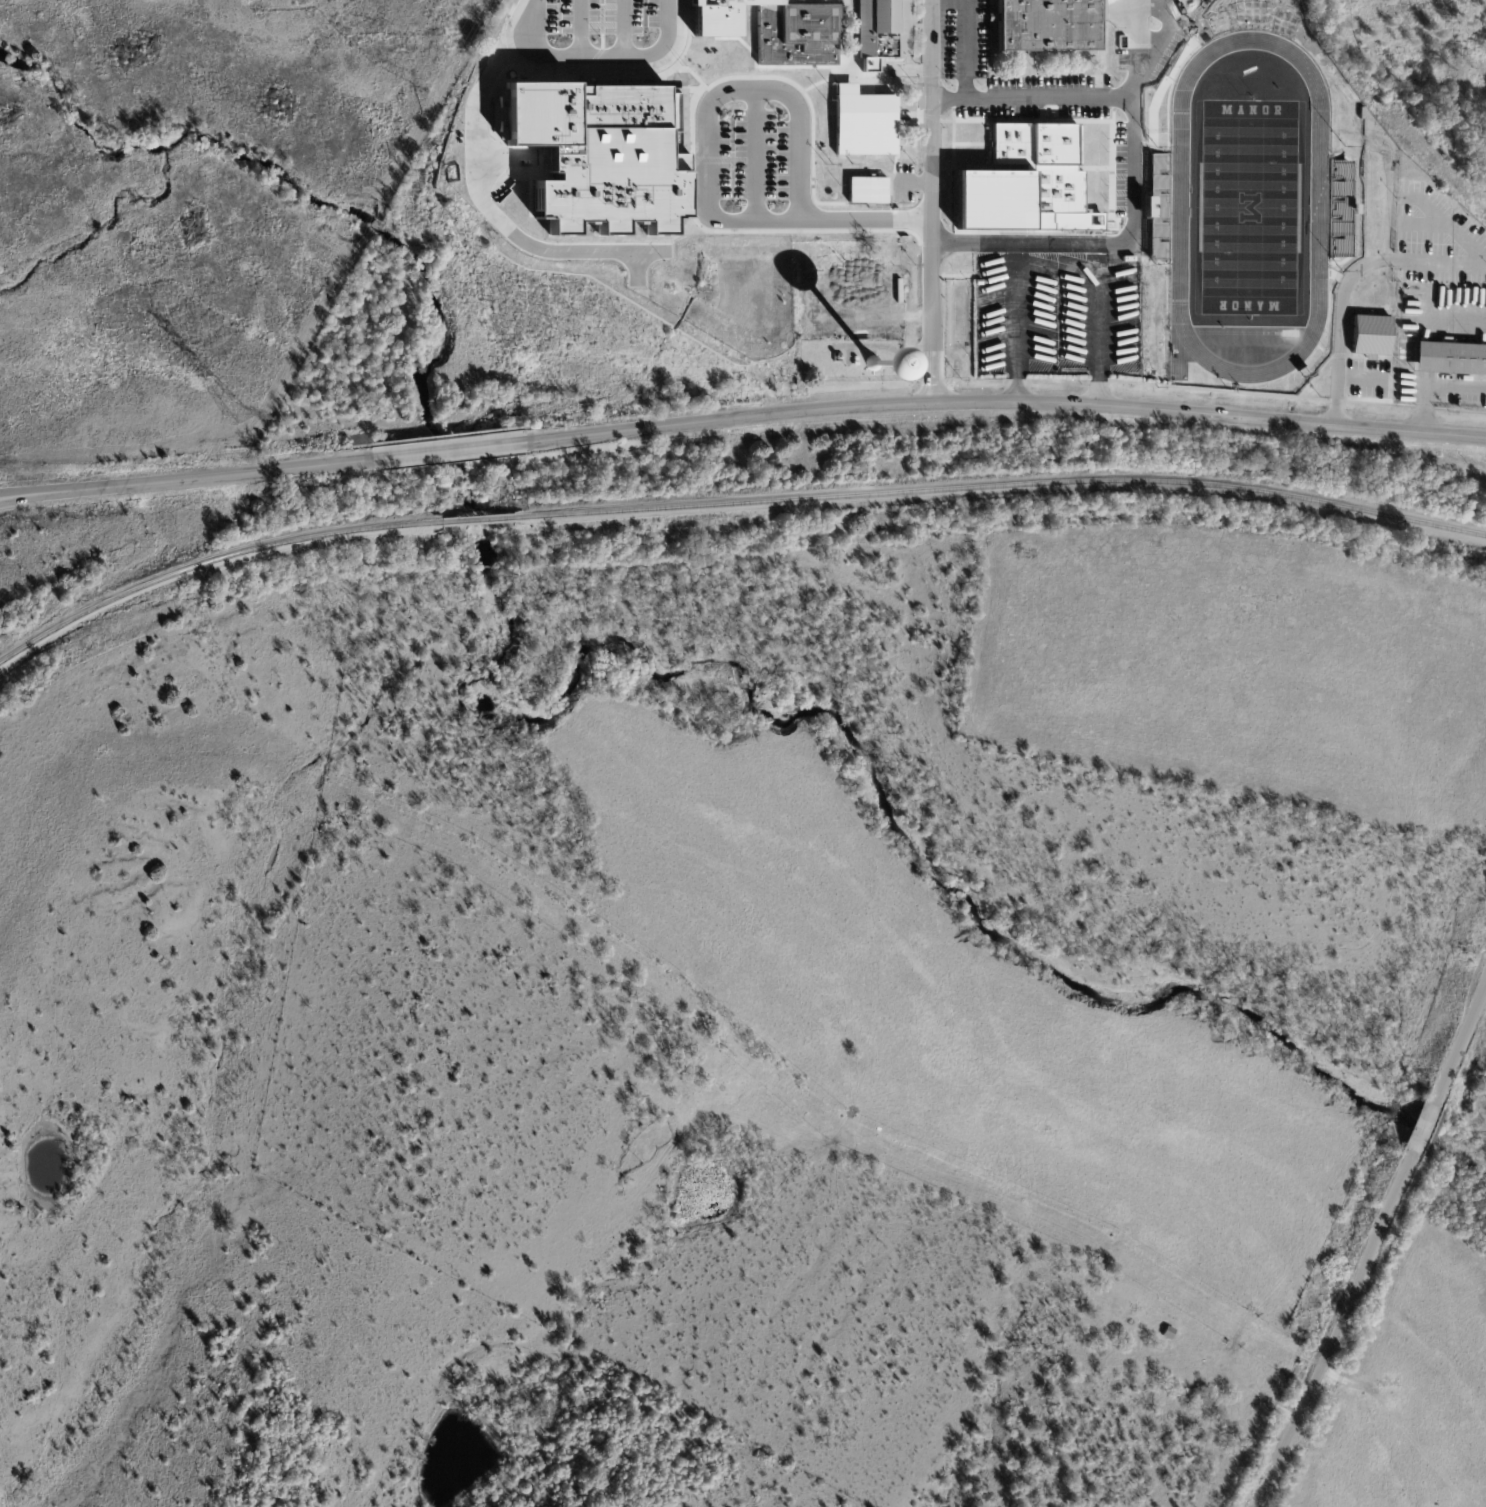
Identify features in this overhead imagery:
building: (1195, 16)
building: (734, 19)
road: (579, 28)
road: (621, 28)
building: (1053, 28)
parking lot: (595, 32)
building: (886, 34)
parking lot: (1147, 38)
building: (800, 44)
road: (966, 49)
road: (604, 57)
road: (1077, 96)
building: (1143, 112)
building: (869, 130)
building: (958, 155)
building: (979, 155)
road: (754, 156)
parking lot: (757, 160)
road: (709, 170)
building: (614, 172)
building: (1034, 190)
road: (479, 197)
building: (872, 197)
road: (933, 202)
track: (1251, 206)
park: (1251, 209)
building: (1361, 218)
road: (1109, 247)
road: (1387, 258)
parking lot: (1440, 269)
building: (809, 307)
parking lot: (1058, 318)
road: (1457, 321)
building: (1371, 337)
building: (1450, 359)
water tower: (875, 362)
parking lot: (1413, 388)
road: (1435, 389)
road: (1003, 405)
power tower: (231, 416)
road: (444, 451)
road: (183, 480)
railway: (1001, 484)
railway: (476, 520)
railway: (210, 562)
road: (1460, 1037)
road: (1422, 1125)
road: (1336, 1331)
building: (1168, 1332)

